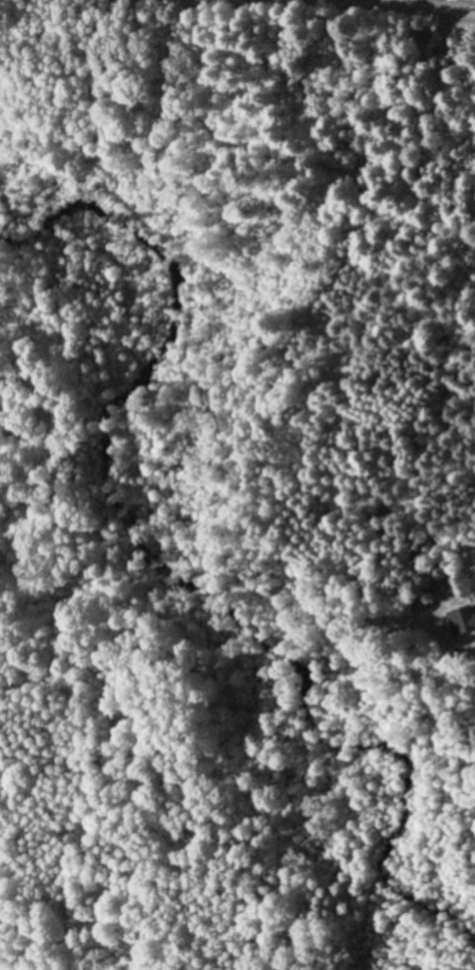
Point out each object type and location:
road: (315, 9)
building: (468, 562)
building: (461, 621)

